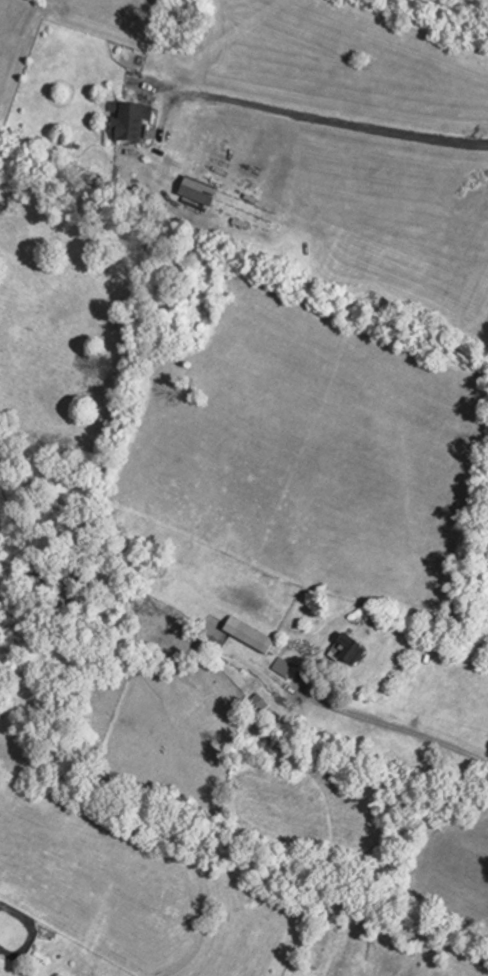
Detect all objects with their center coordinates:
road: (345, 123)
building: (126, 126)
building: (83, 577)
building: (247, 633)
crop: (486, 639)
building: (345, 646)
building: (282, 666)
building: (257, 700)
road: (393, 728)

